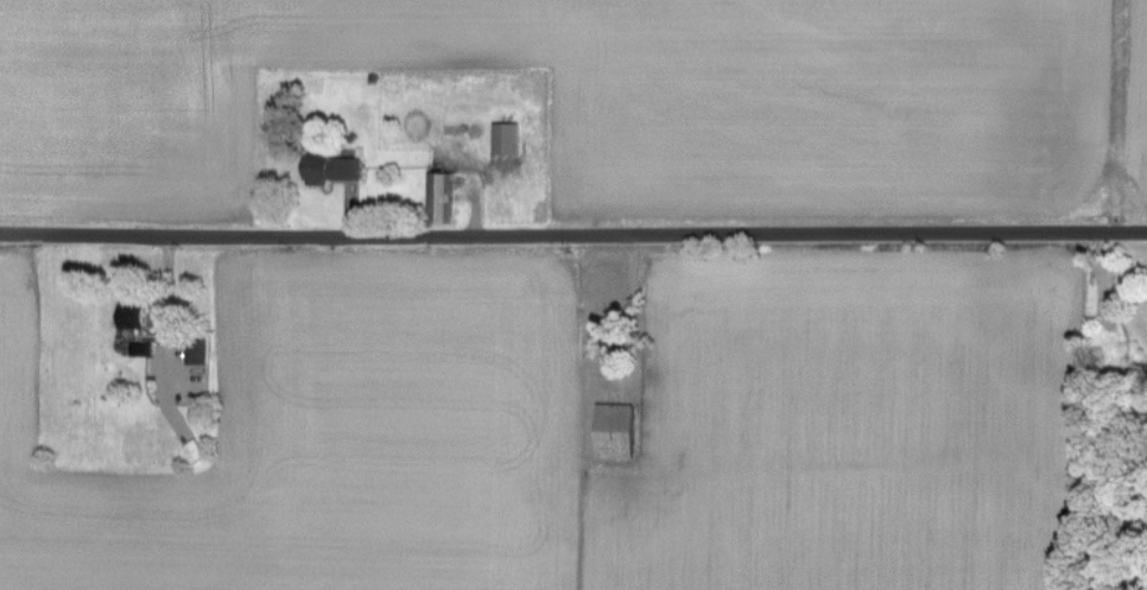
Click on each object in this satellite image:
building: (327, 166)
building: (437, 196)
road: (573, 248)
road: (584, 323)

